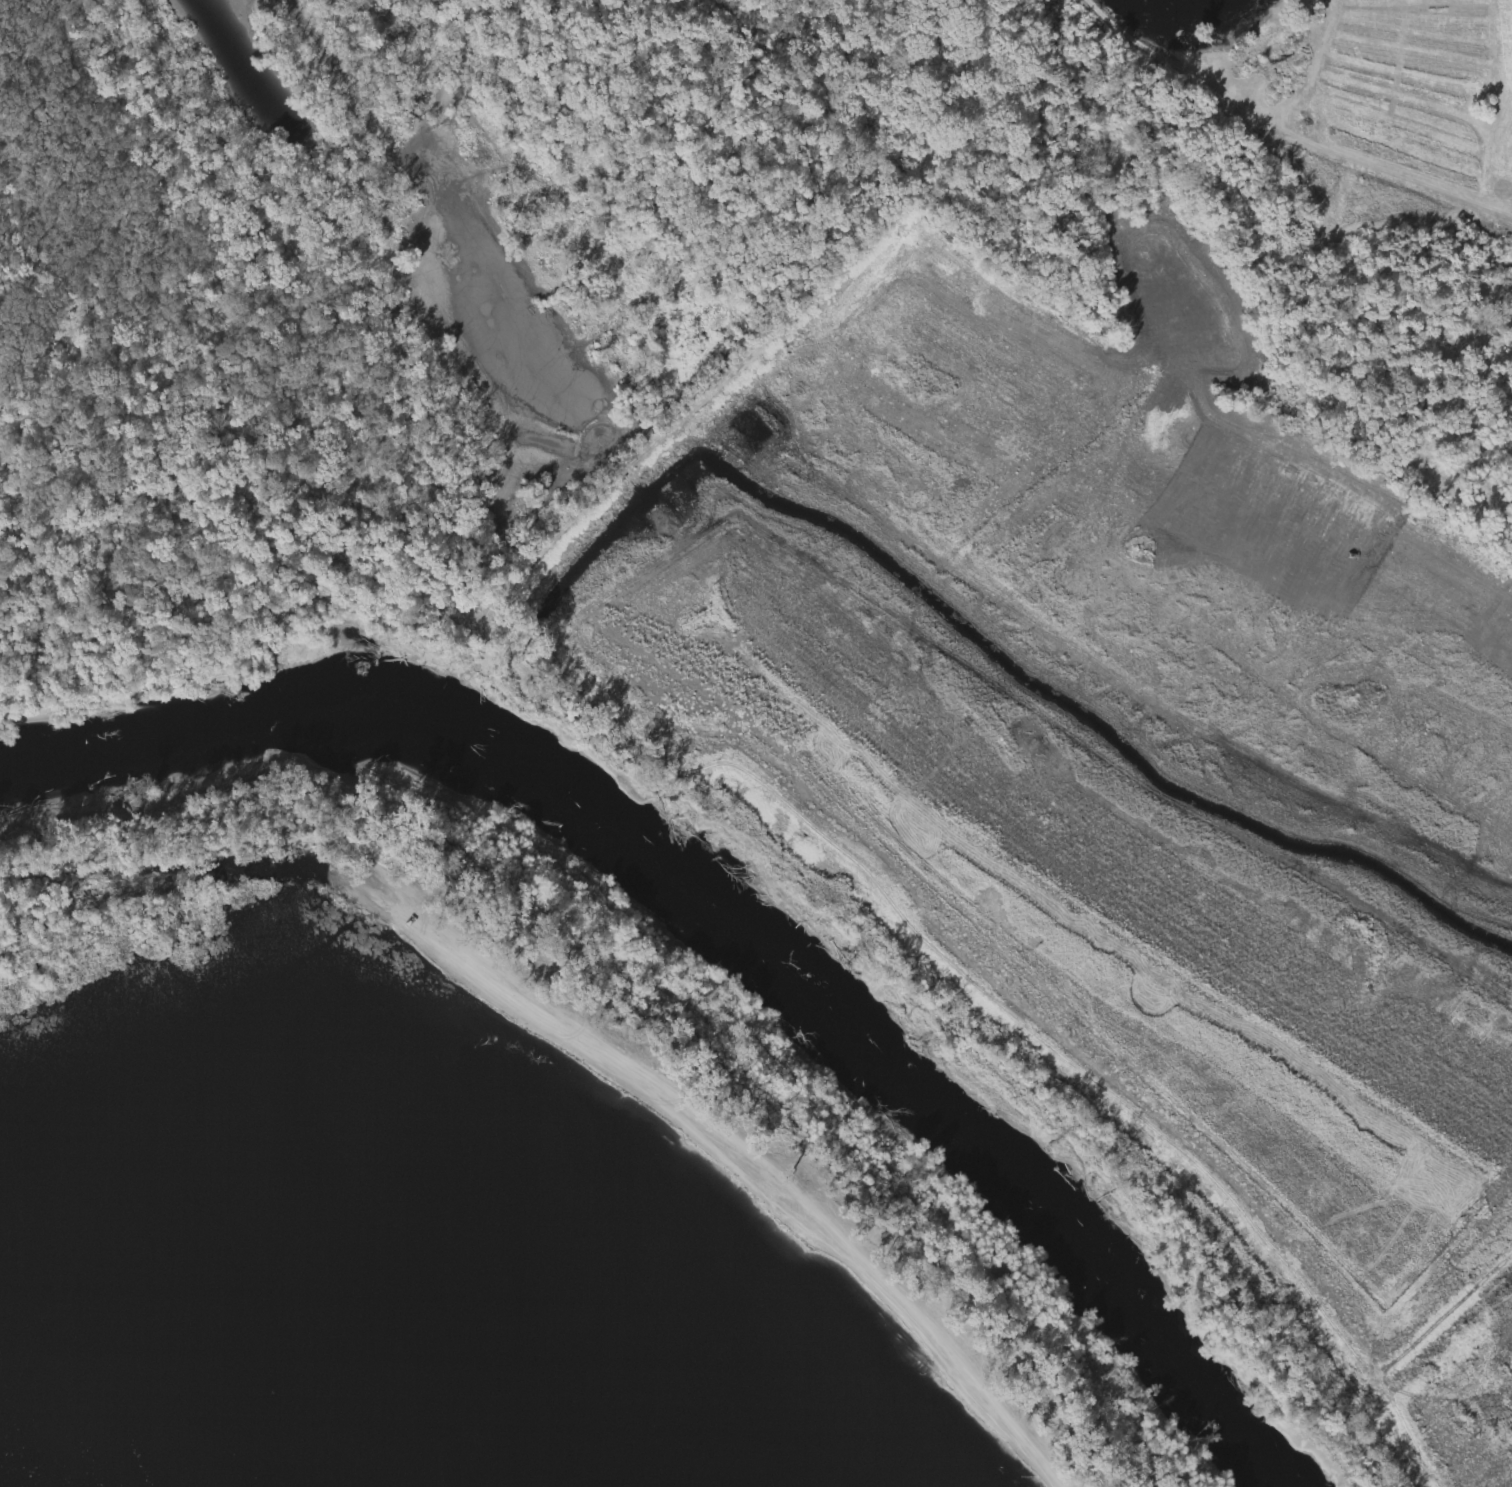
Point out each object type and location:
river: (720, 921)

